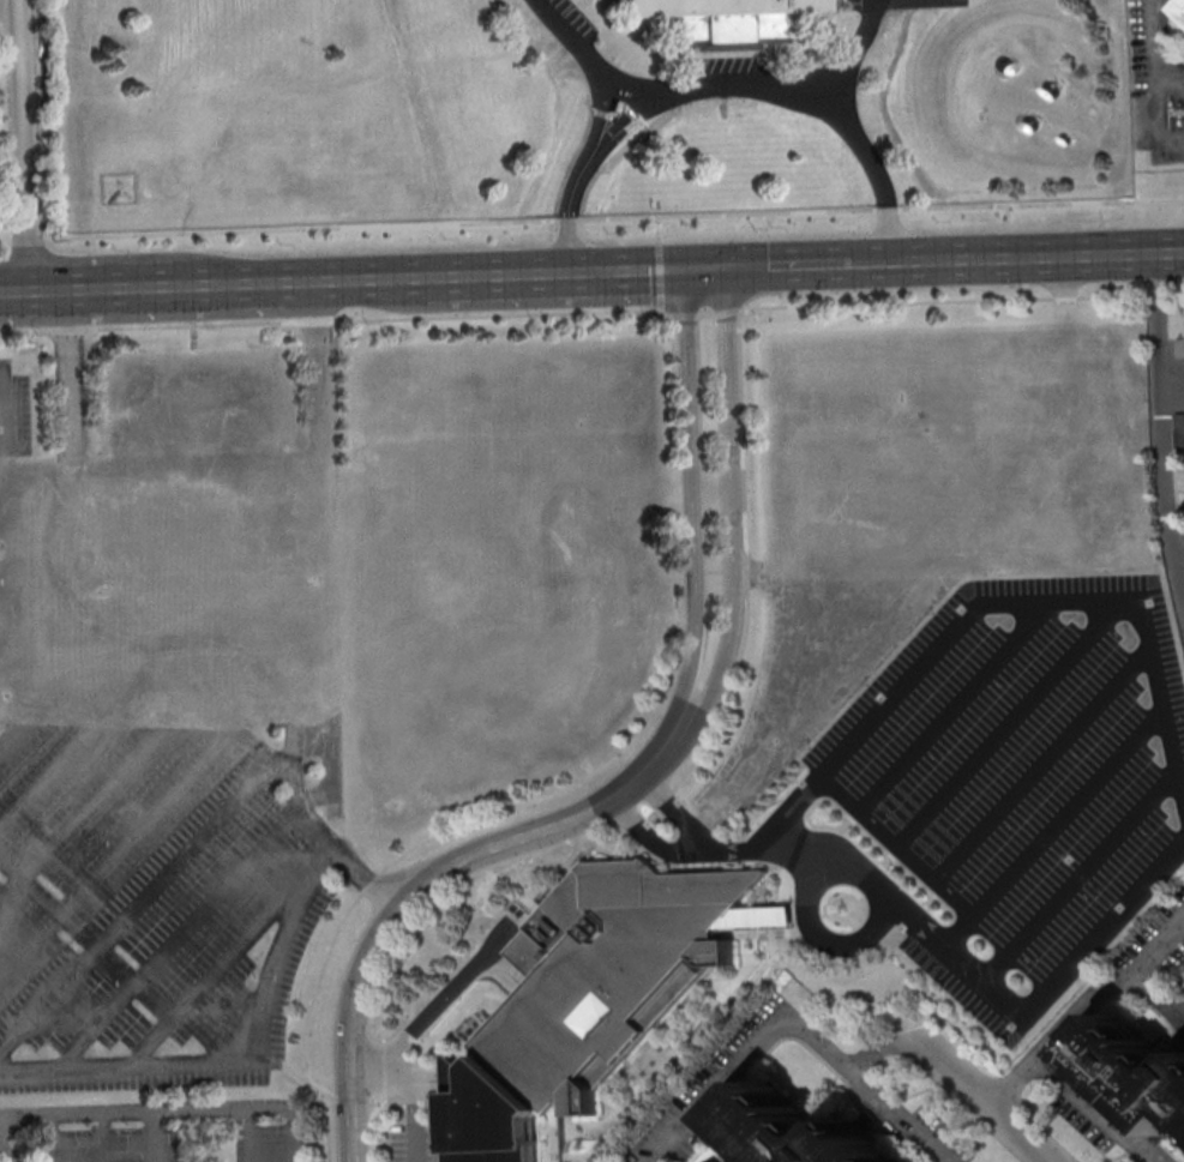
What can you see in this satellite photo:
road: (8, 8)
building: (715, 17)
road: (572, 42)
road: (854, 49)
road: (1155, 56)
road: (626, 92)
road: (825, 94)
road: (600, 110)
road: (1158, 113)
road: (624, 121)
road: (1172, 138)
road: (24, 145)
road: (570, 203)
road: (591, 218)
road: (656, 230)
road: (1052, 257)
road: (887, 263)
road: (788, 265)
road: (703, 267)
traffic signals: (725, 267)
traffic signals: (683, 269)
road: (553, 273)
road: (659, 276)
road: (366, 279)
road: (241, 284)
road: (119, 288)
road: (47, 290)
road: (14, 291)
road: (659, 311)
road: (593, 312)
building: (1180, 348)
road: (1172, 372)
road: (67, 377)
road: (7, 420)
road: (1161, 428)
building: (1179, 429)
road: (689, 444)
road: (710, 490)
road: (731, 502)
building: (196, 530)
road: (714, 574)
road: (997, 606)
road: (689, 672)
road: (955, 708)
road: (1009, 723)
road: (14, 727)
road: (11, 734)
road: (1041, 766)
road: (46, 773)
road: (564, 788)
road: (675, 808)
road: (317, 829)
road: (1053, 829)
road: (648, 835)
road: (528, 838)
road: (898, 845)
road: (722, 849)
road: (1081, 878)
road: (821, 932)
road: (110, 959)
building: (611, 970)
road: (987, 982)
road: (444, 997)
road: (1159, 998)
road: (49, 1000)
road: (1081, 1005)
road: (94, 1025)
road: (765, 1030)
road: (351, 1054)
road: (236, 1059)
building: (1142, 1073)
road: (416, 1085)
road: (976, 1096)
road: (172, 1109)
road: (1090, 1109)
building: (488, 1114)
road: (901, 1119)
building: (805, 1133)
road: (157, 1136)
road: (6, 1152)
road: (1044, 1160)

